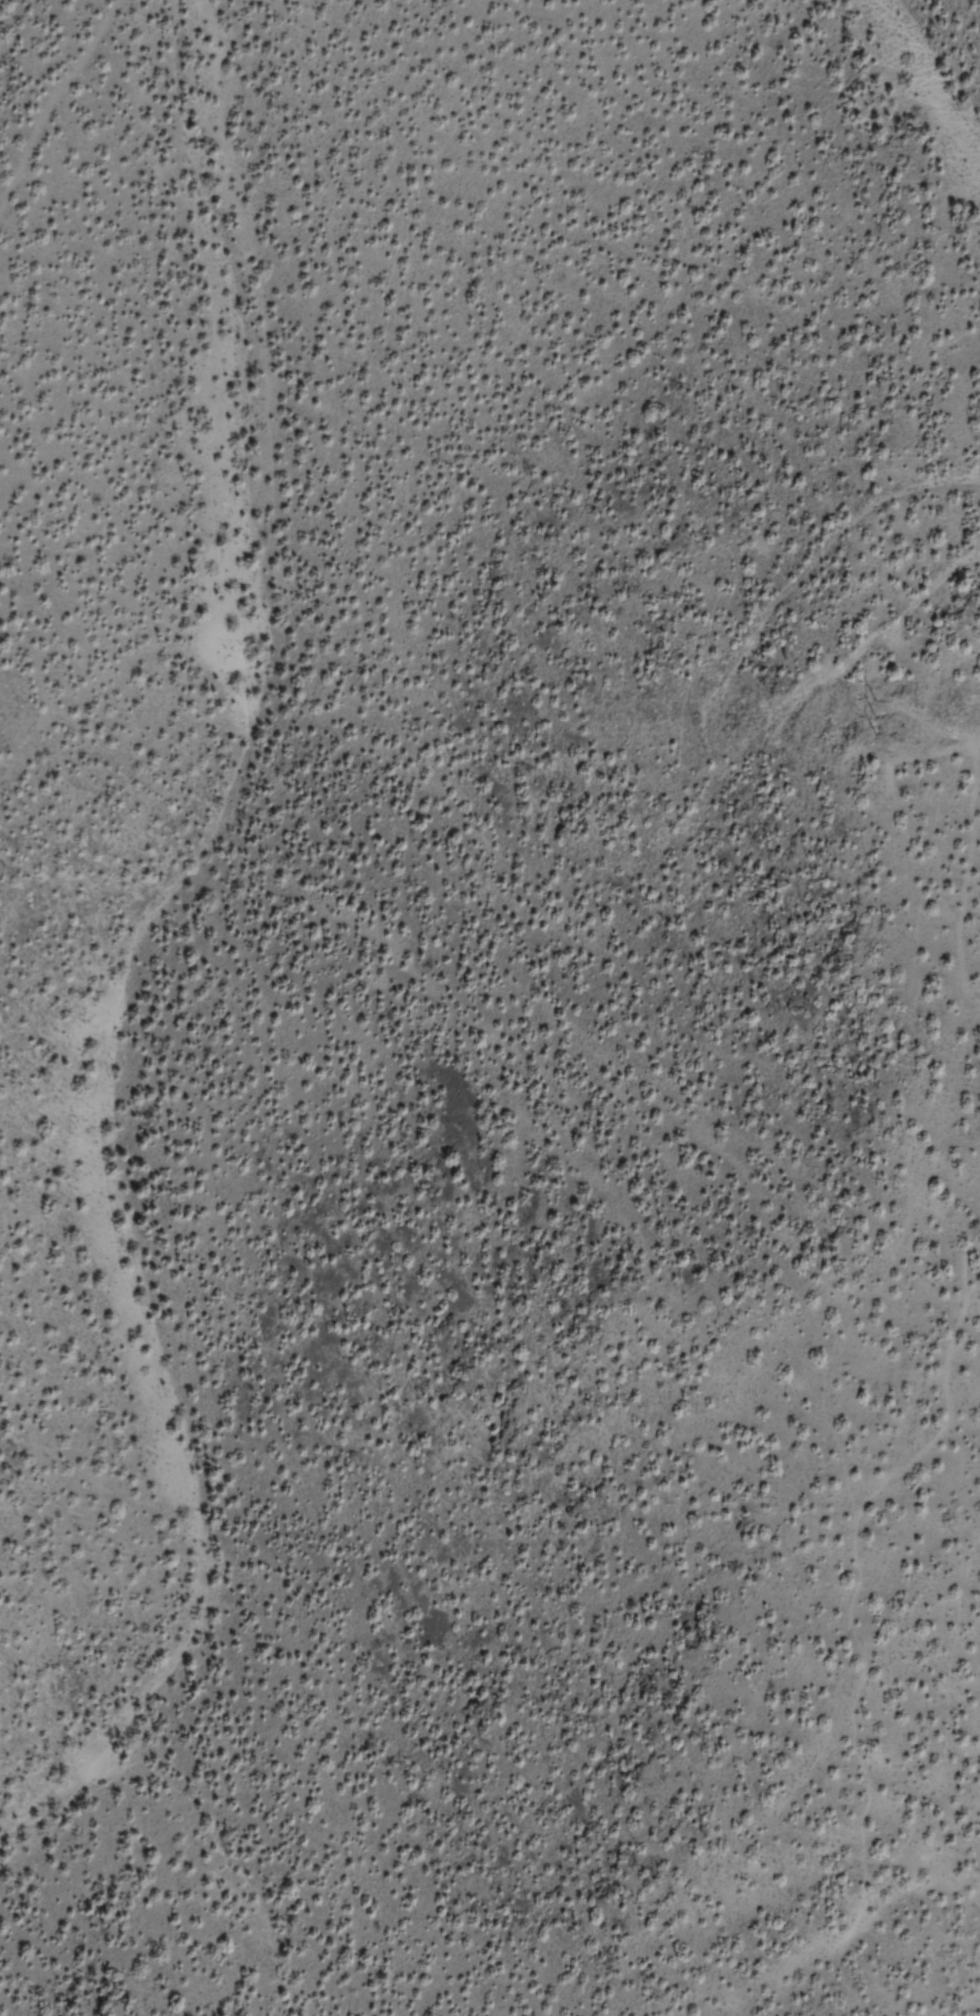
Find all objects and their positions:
power tower: (877, 718)

